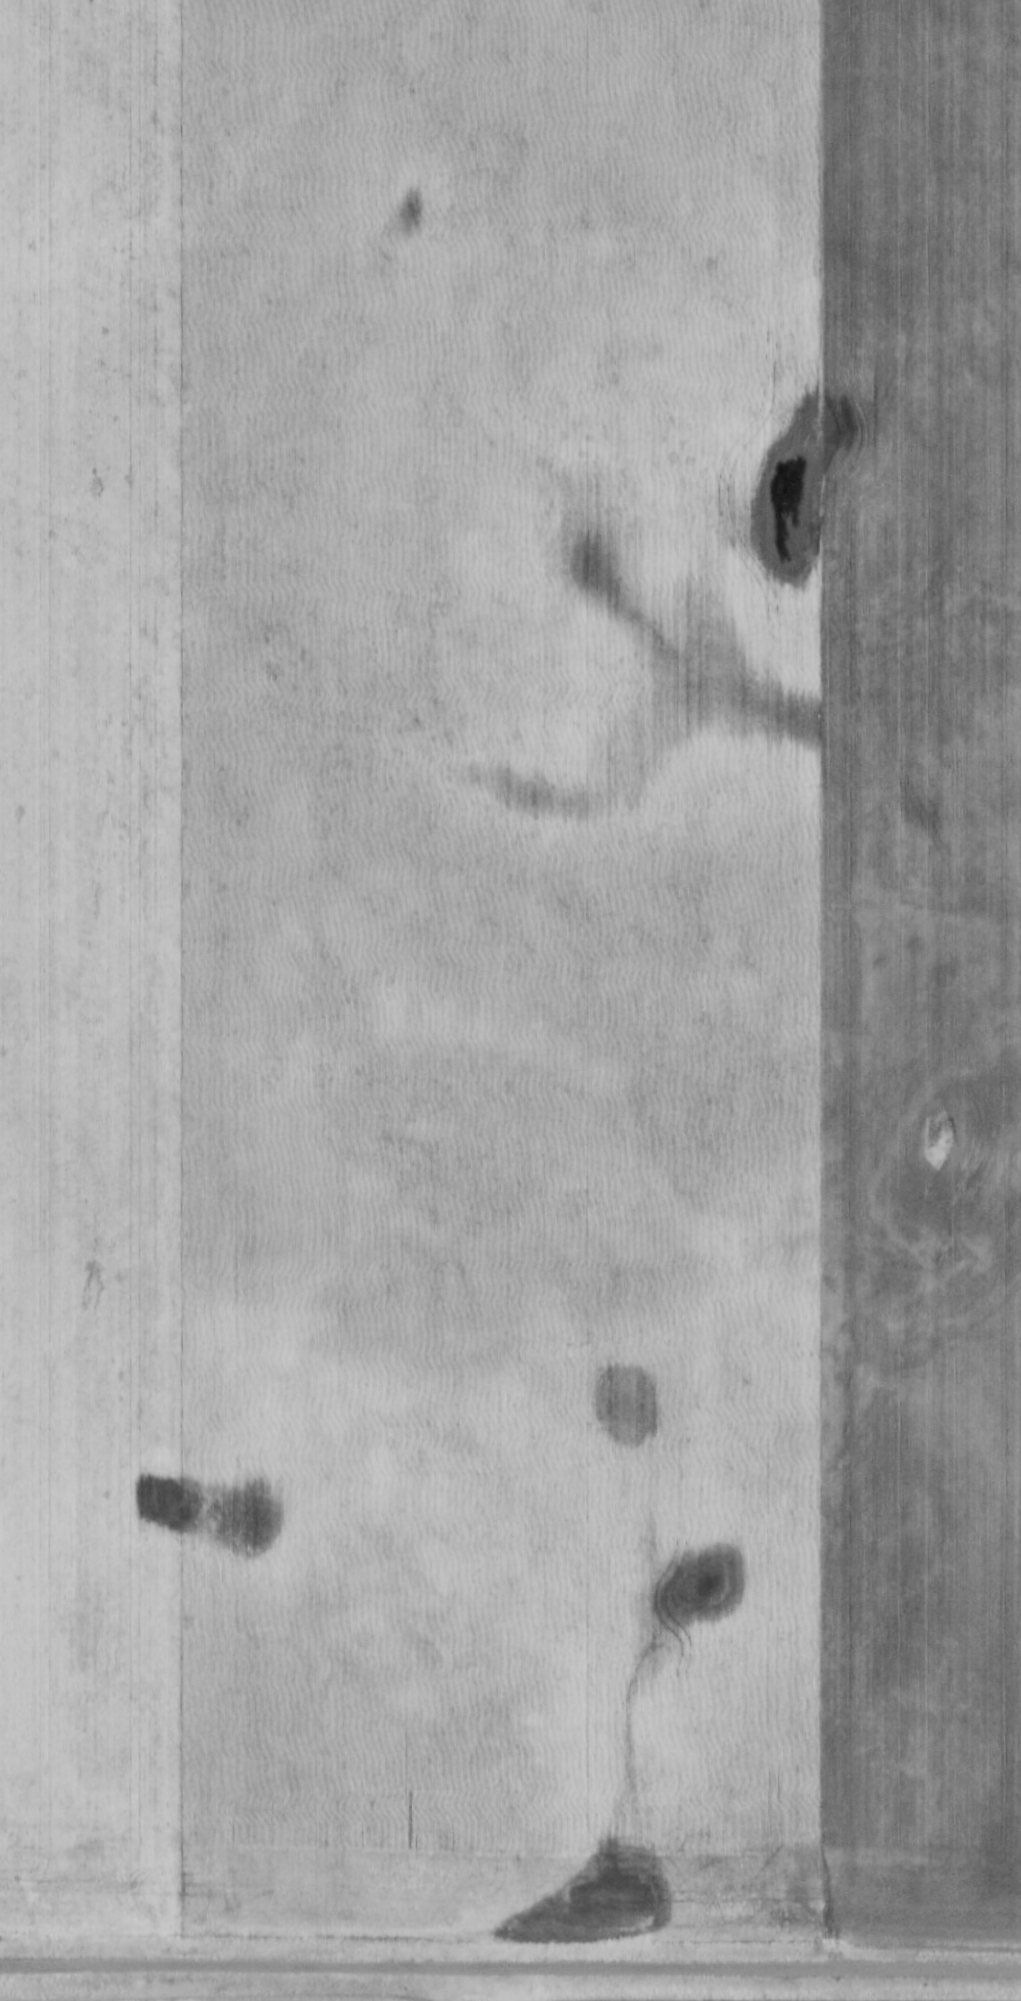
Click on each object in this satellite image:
road: (510, 1964)

